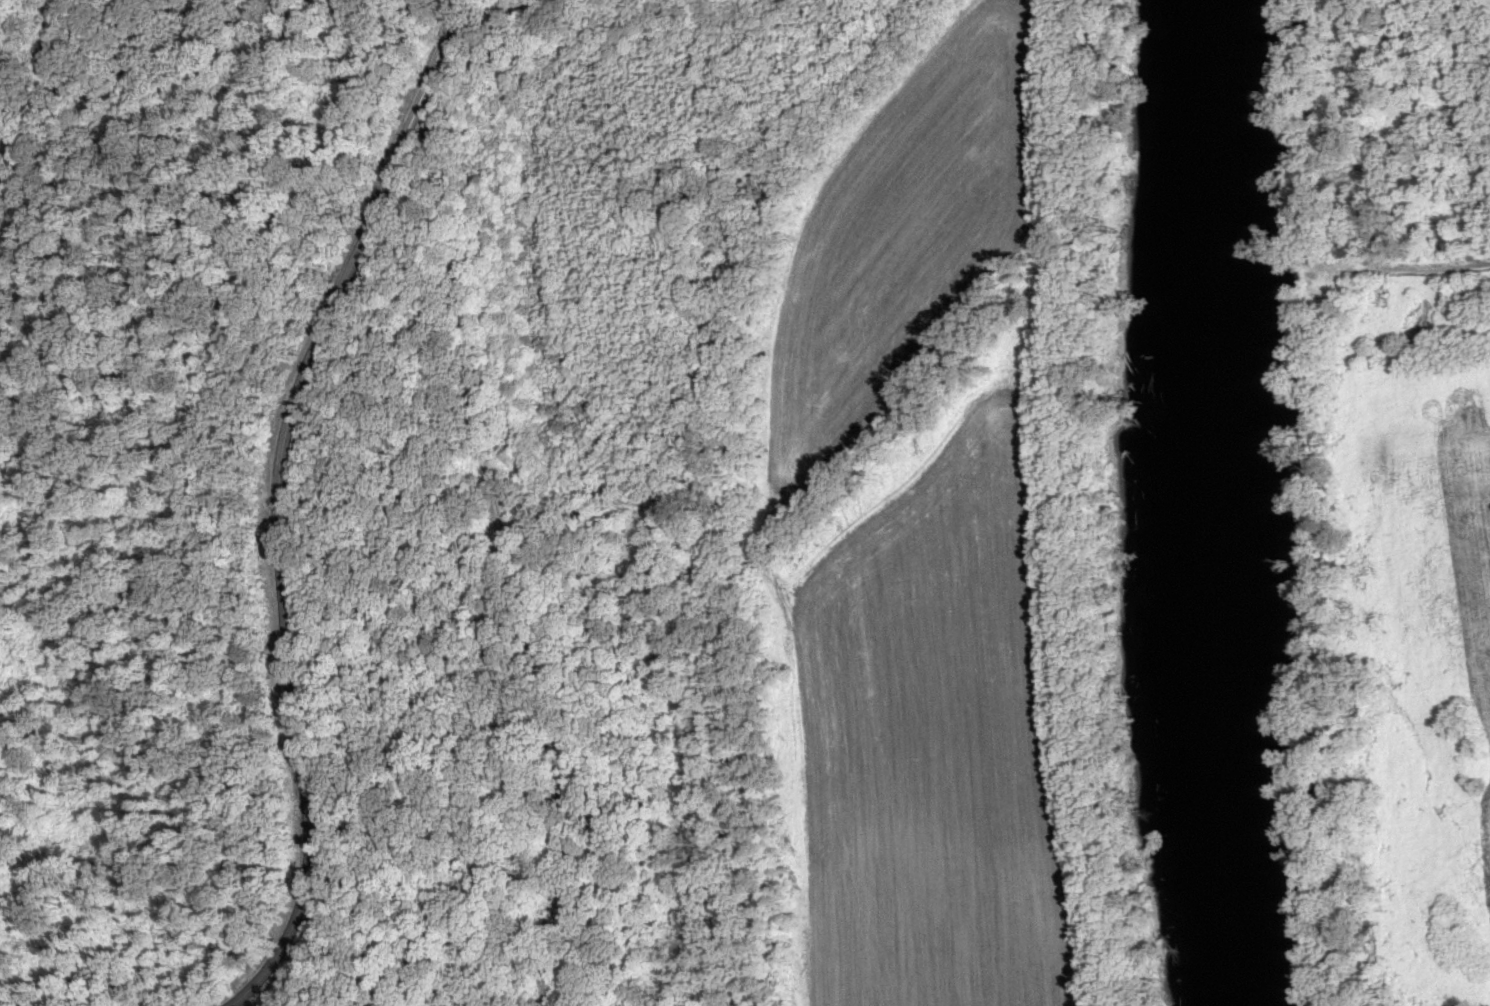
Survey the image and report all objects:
road: (497, 11)
road: (209, 90)
road: (1409, 265)
road: (273, 500)
road: (500, 500)
river: (1202, 503)

